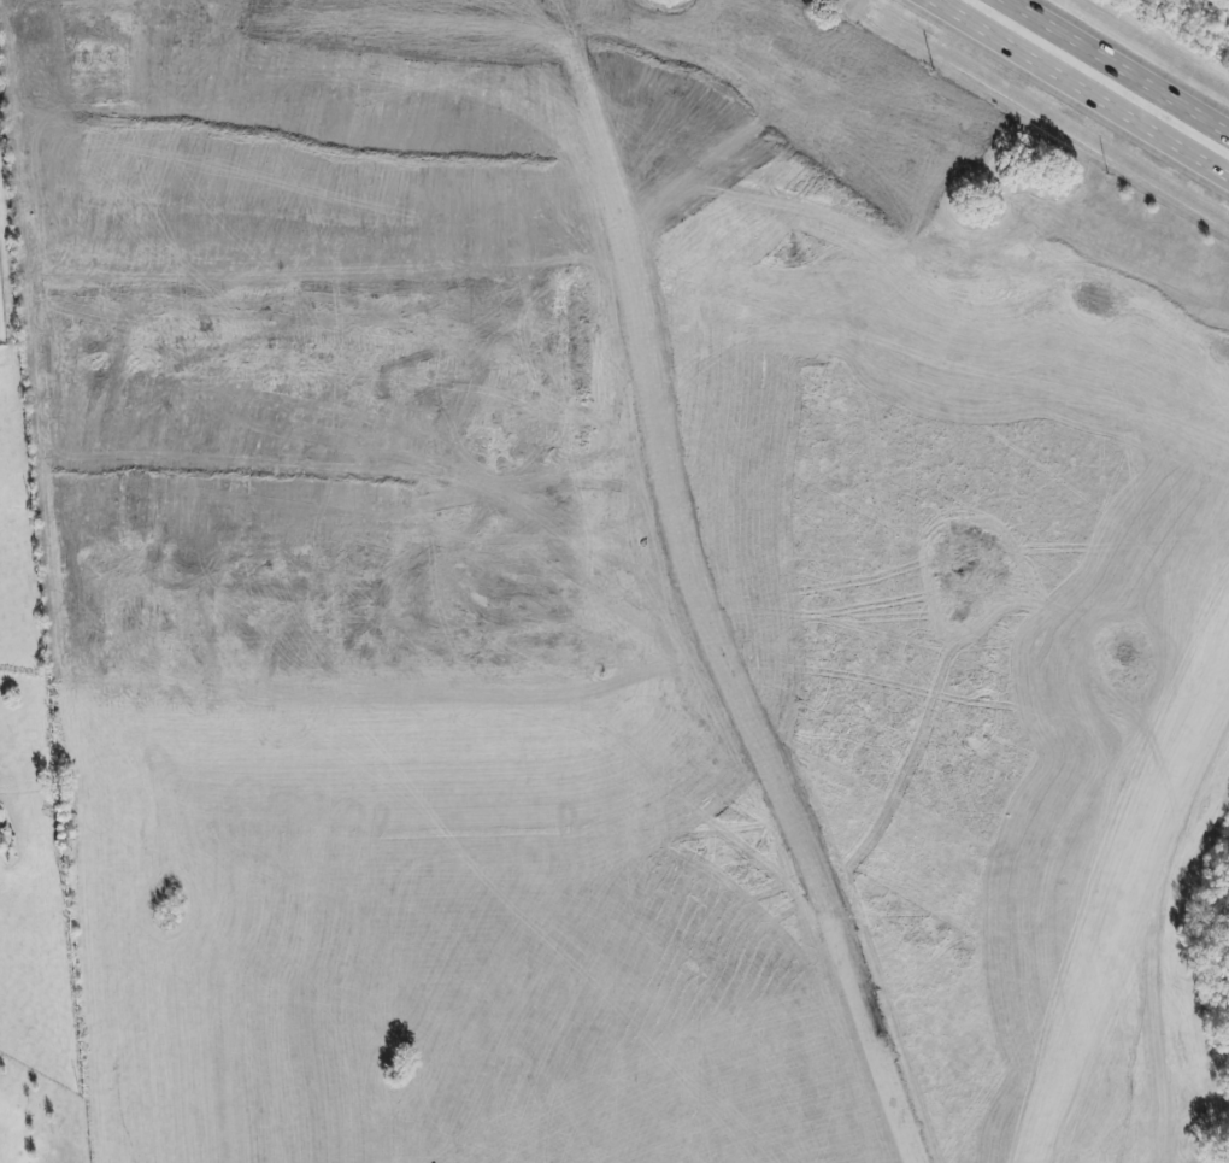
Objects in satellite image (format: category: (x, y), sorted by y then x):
road: (1115, 67)
road: (1081, 88)

